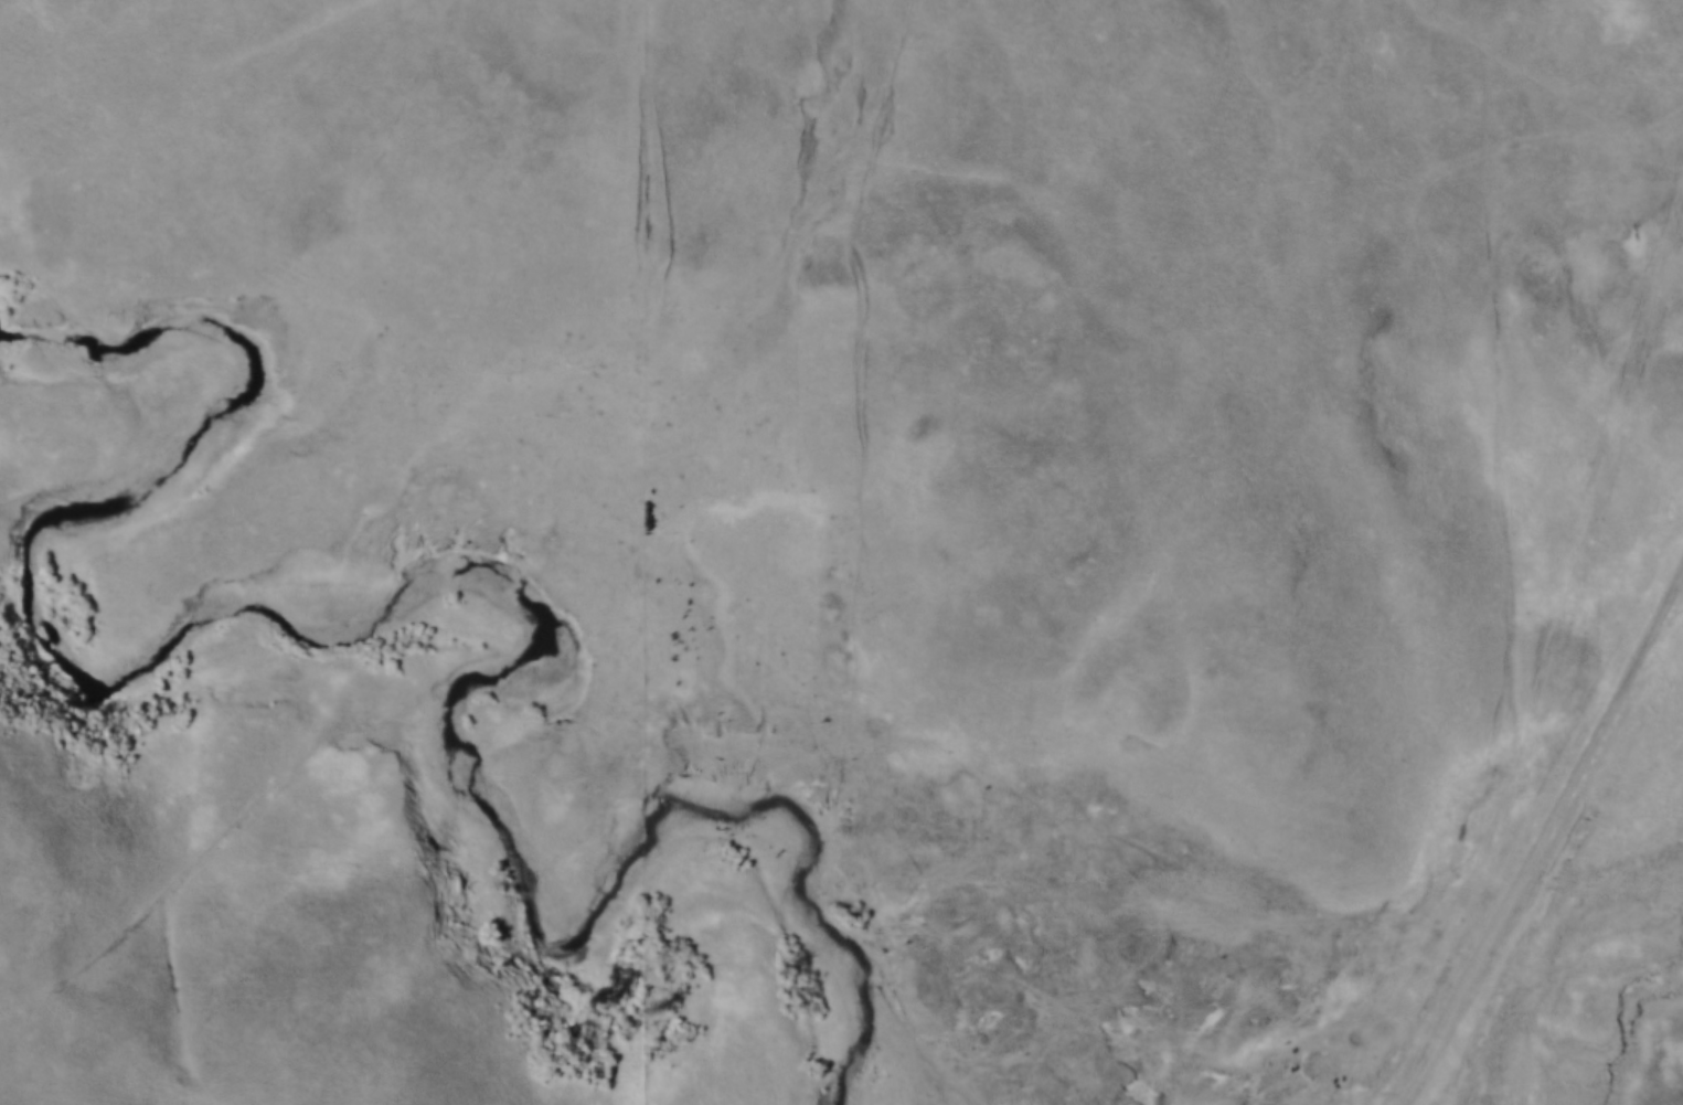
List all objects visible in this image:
road: (1544, 846)

